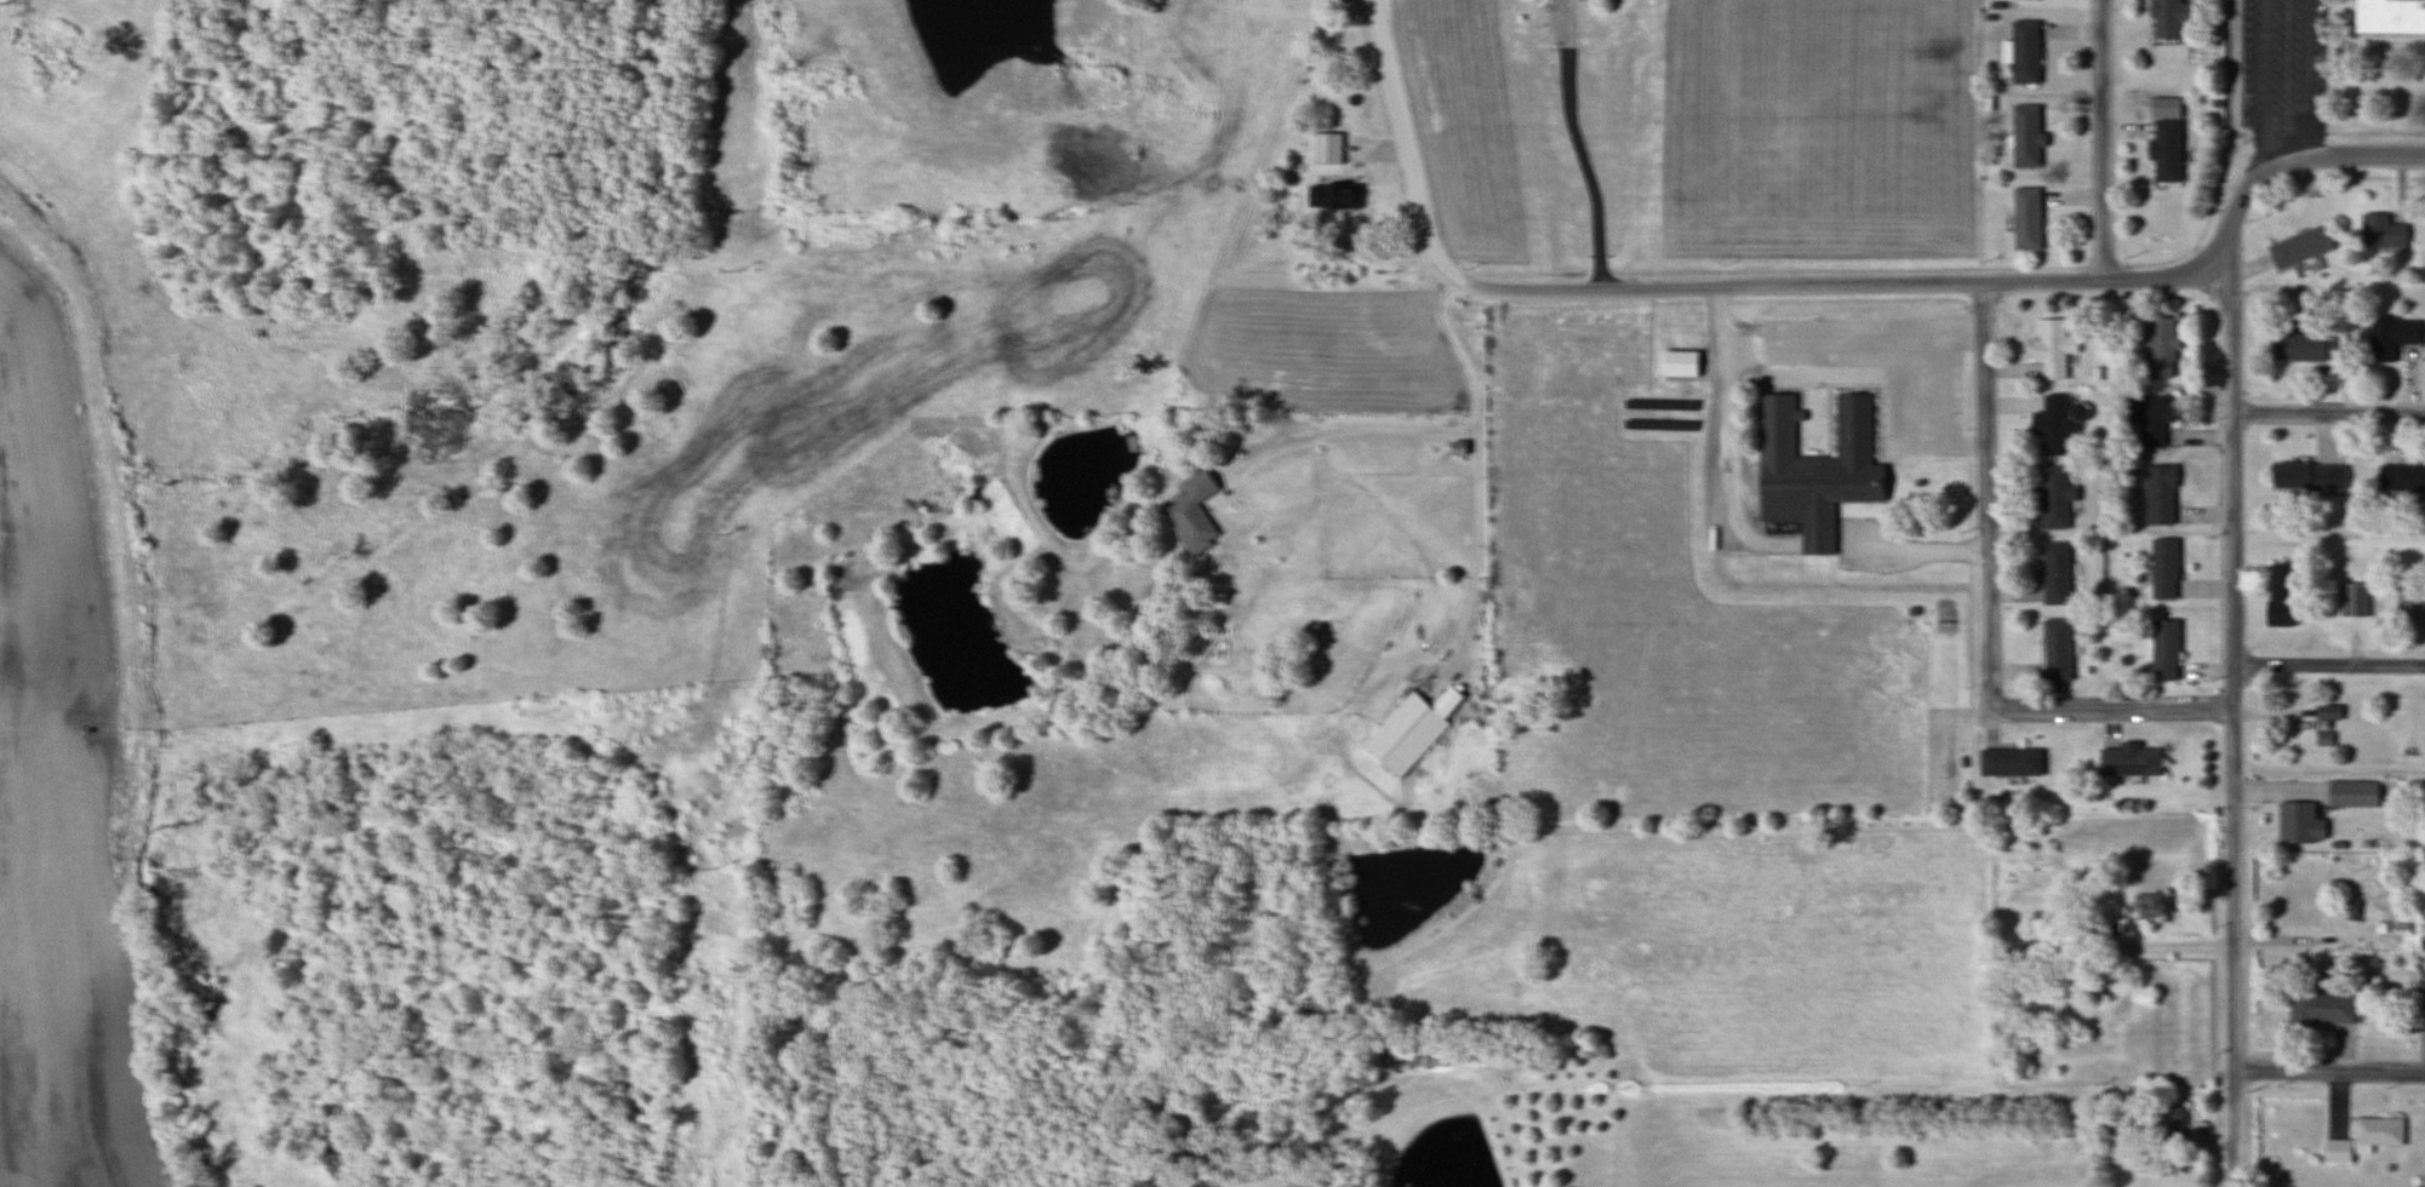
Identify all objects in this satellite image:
building: (2389, 15)
building: (2167, 17)
building: (2021, 51)
road: (2303, 79)
road: (2265, 85)
building: (2024, 134)
road: (1401, 139)
road: (2105, 139)
road: (1575, 145)
building: (1327, 148)
building: (2164, 149)
road: (2343, 154)
building: (1331, 196)
building: (2024, 218)
building: (2379, 231)
building: (2298, 247)
road: (1835, 286)
building: (2387, 337)
building: (2158, 346)
building: (2301, 346)
building: (2051, 349)
road: (2328, 414)
building: (2147, 419)
building: (2052, 425)
road: (1424, 426)
building: (1823, 476)
building: (2299, 476)
building: (2400, 478)
road: (1986, 495)
building: (2157, 495)
building: (2054, 498)
building: (1190, 512)
building: (2162, 569)
building: (2054, 573)
building: (2277, 583)
building: (2351, 601)
building: (2409, 606)
building: (2054, 650)
building: (2162, 650)
road: (2329, 665)
road: (2234, 672)
road: (2110, 709)
building: (1408, 732)
building: (2128, 762)
building: (2008, 763)
building: (2350, 795)
building: (2298, 824)
building: (2147, 906)
building: (2421, 1007)
building: (2321, 1008)
road: (2329, 1071)
building: (2169, 1125)
building: (2362, 1140)
building: (1197, 1185)

